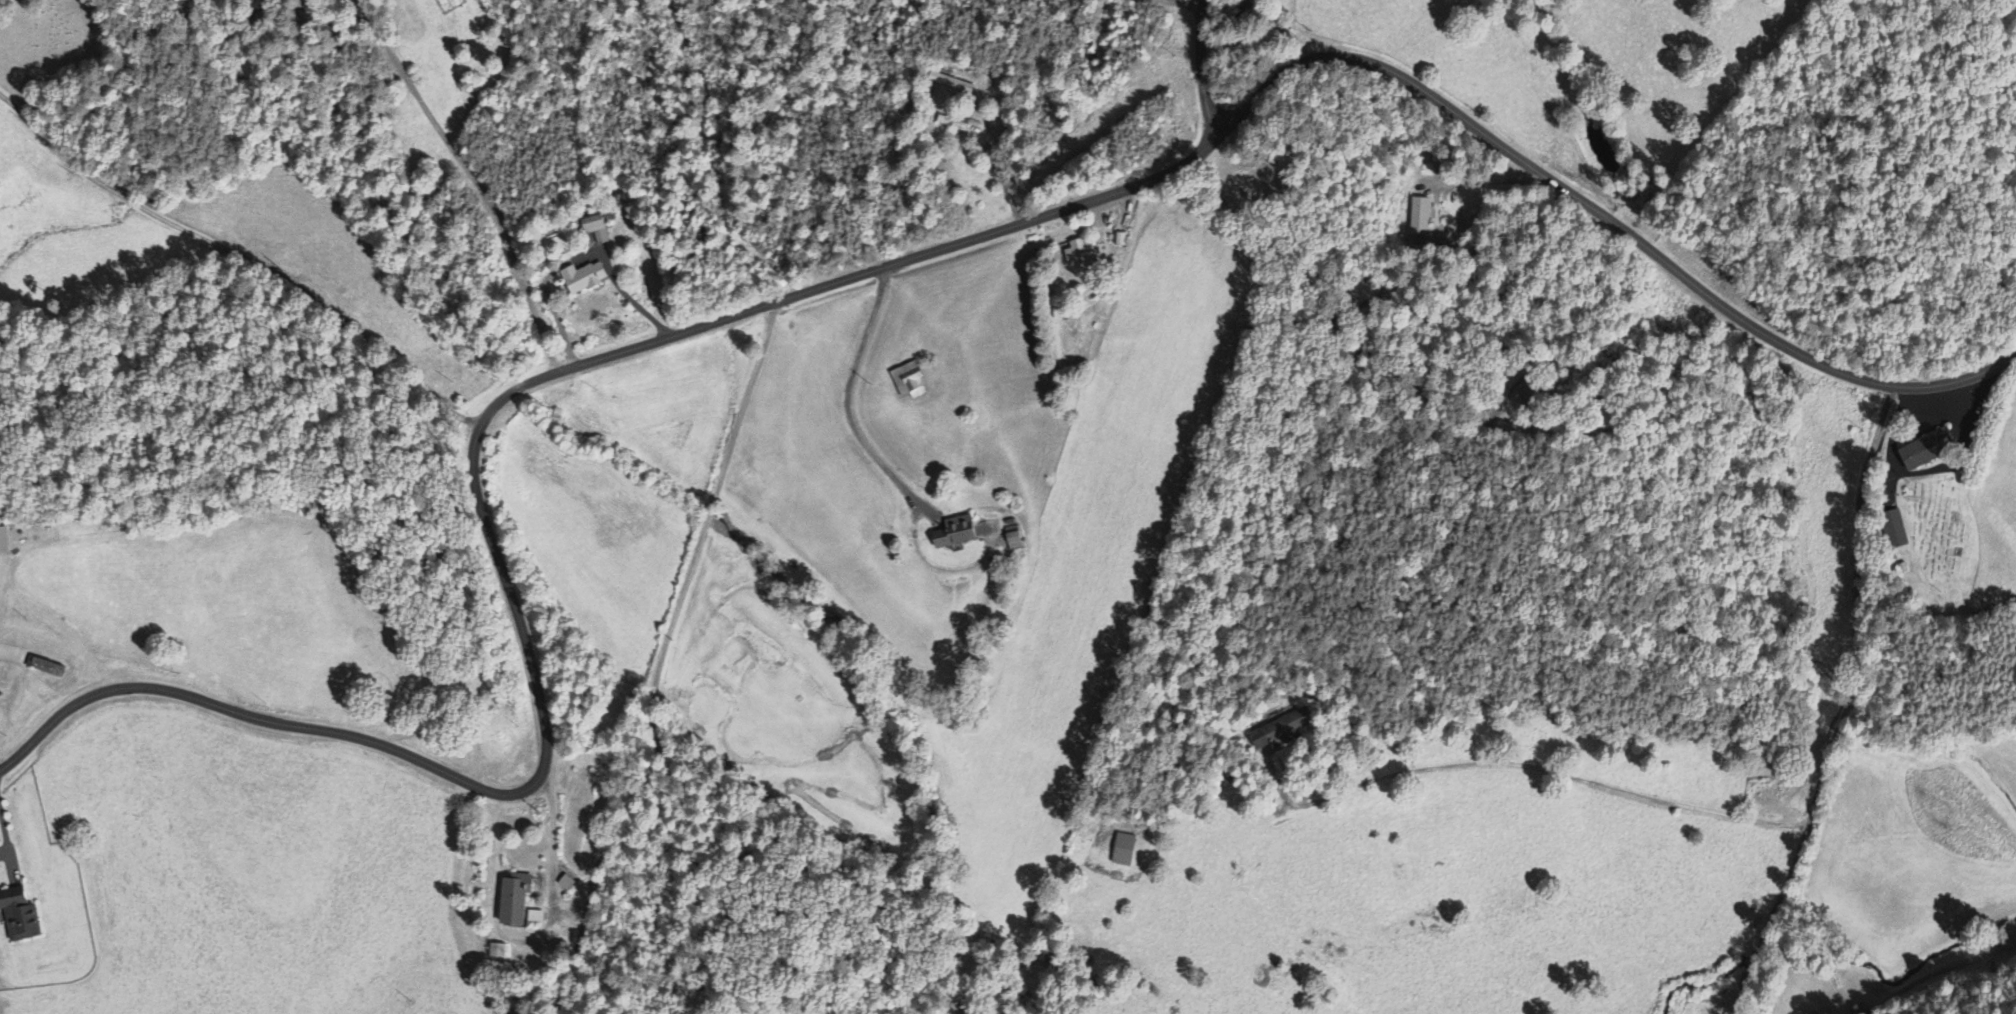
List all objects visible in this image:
road: (1188, 3)
road: (1201, 68)
building: (954, 85)
building: (1420, 218)
building: (597, 230)
road: (244, 253)
building: (1084, 253)
building: (588, 279)
road: (833, 282)
road: (626, 287)
building: (913, 383)
building: (1923, 451)
road: (710, 509)
building: (1893, 531)
building: (962, 534)
building: (1018, 540)
building: (3, 543)
road: (1848, 707)
building: (1285, 729)
building: (1123, 851)
road: (604, 863)
building: (571, 884)
building: (521, 900)
building: (25, 915)
building: (504, 951)

